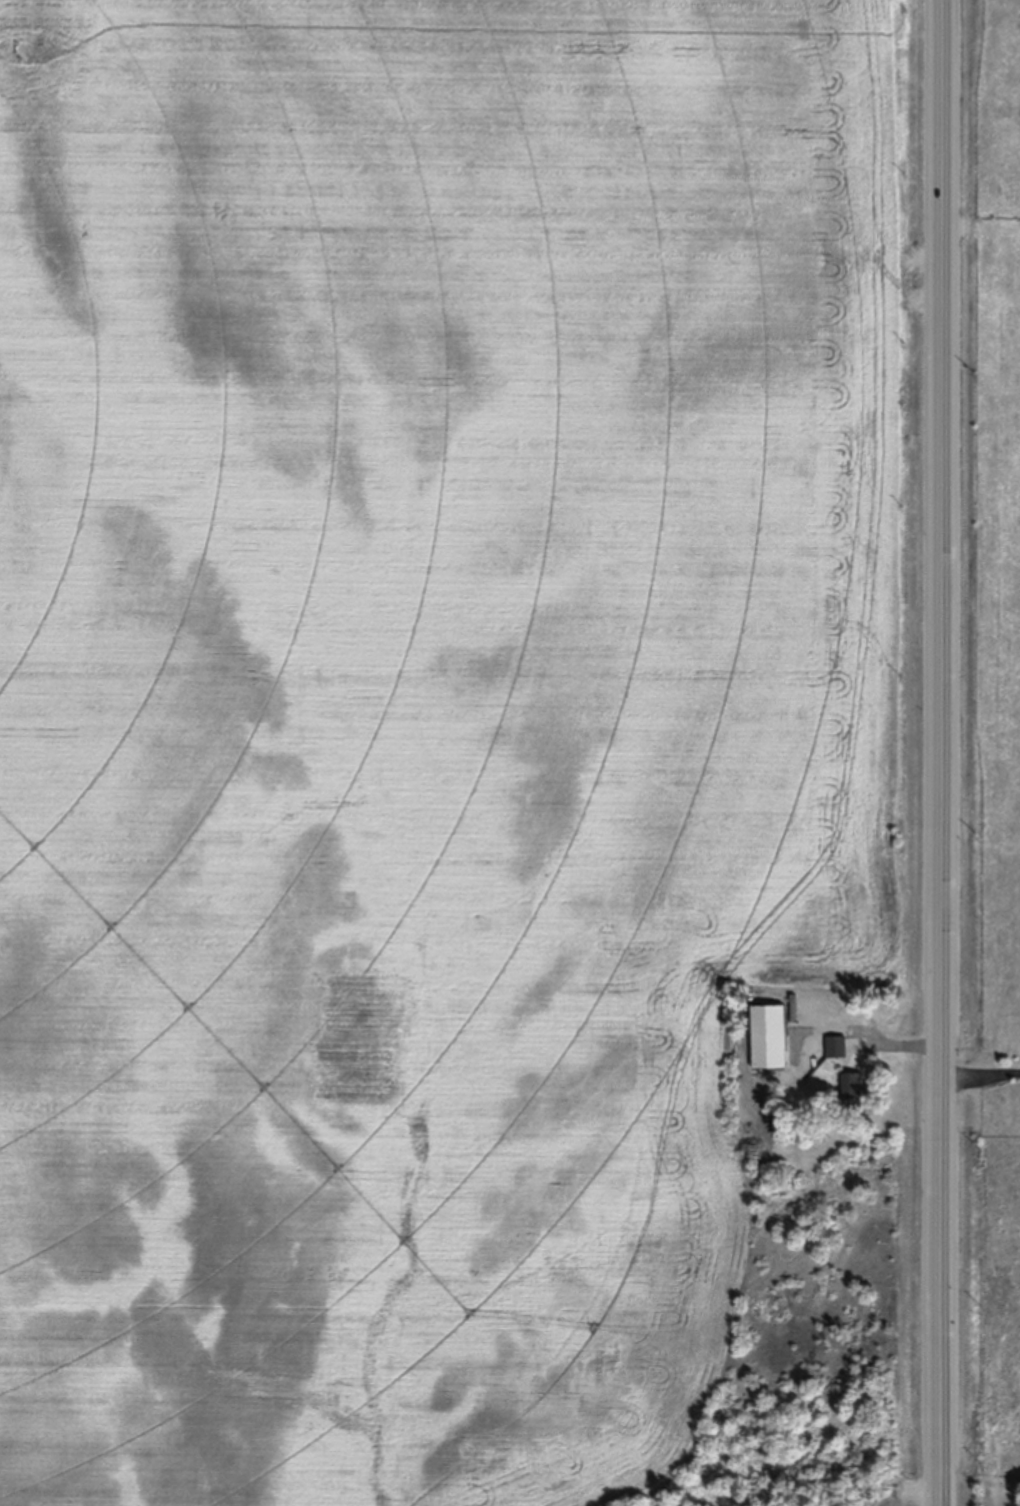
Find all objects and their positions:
crop: (434, 711)
road: (943, 753)
building: (767, 1038)
building: (835, 1047)
road: (981, 1070)
building: (852, 1091)

